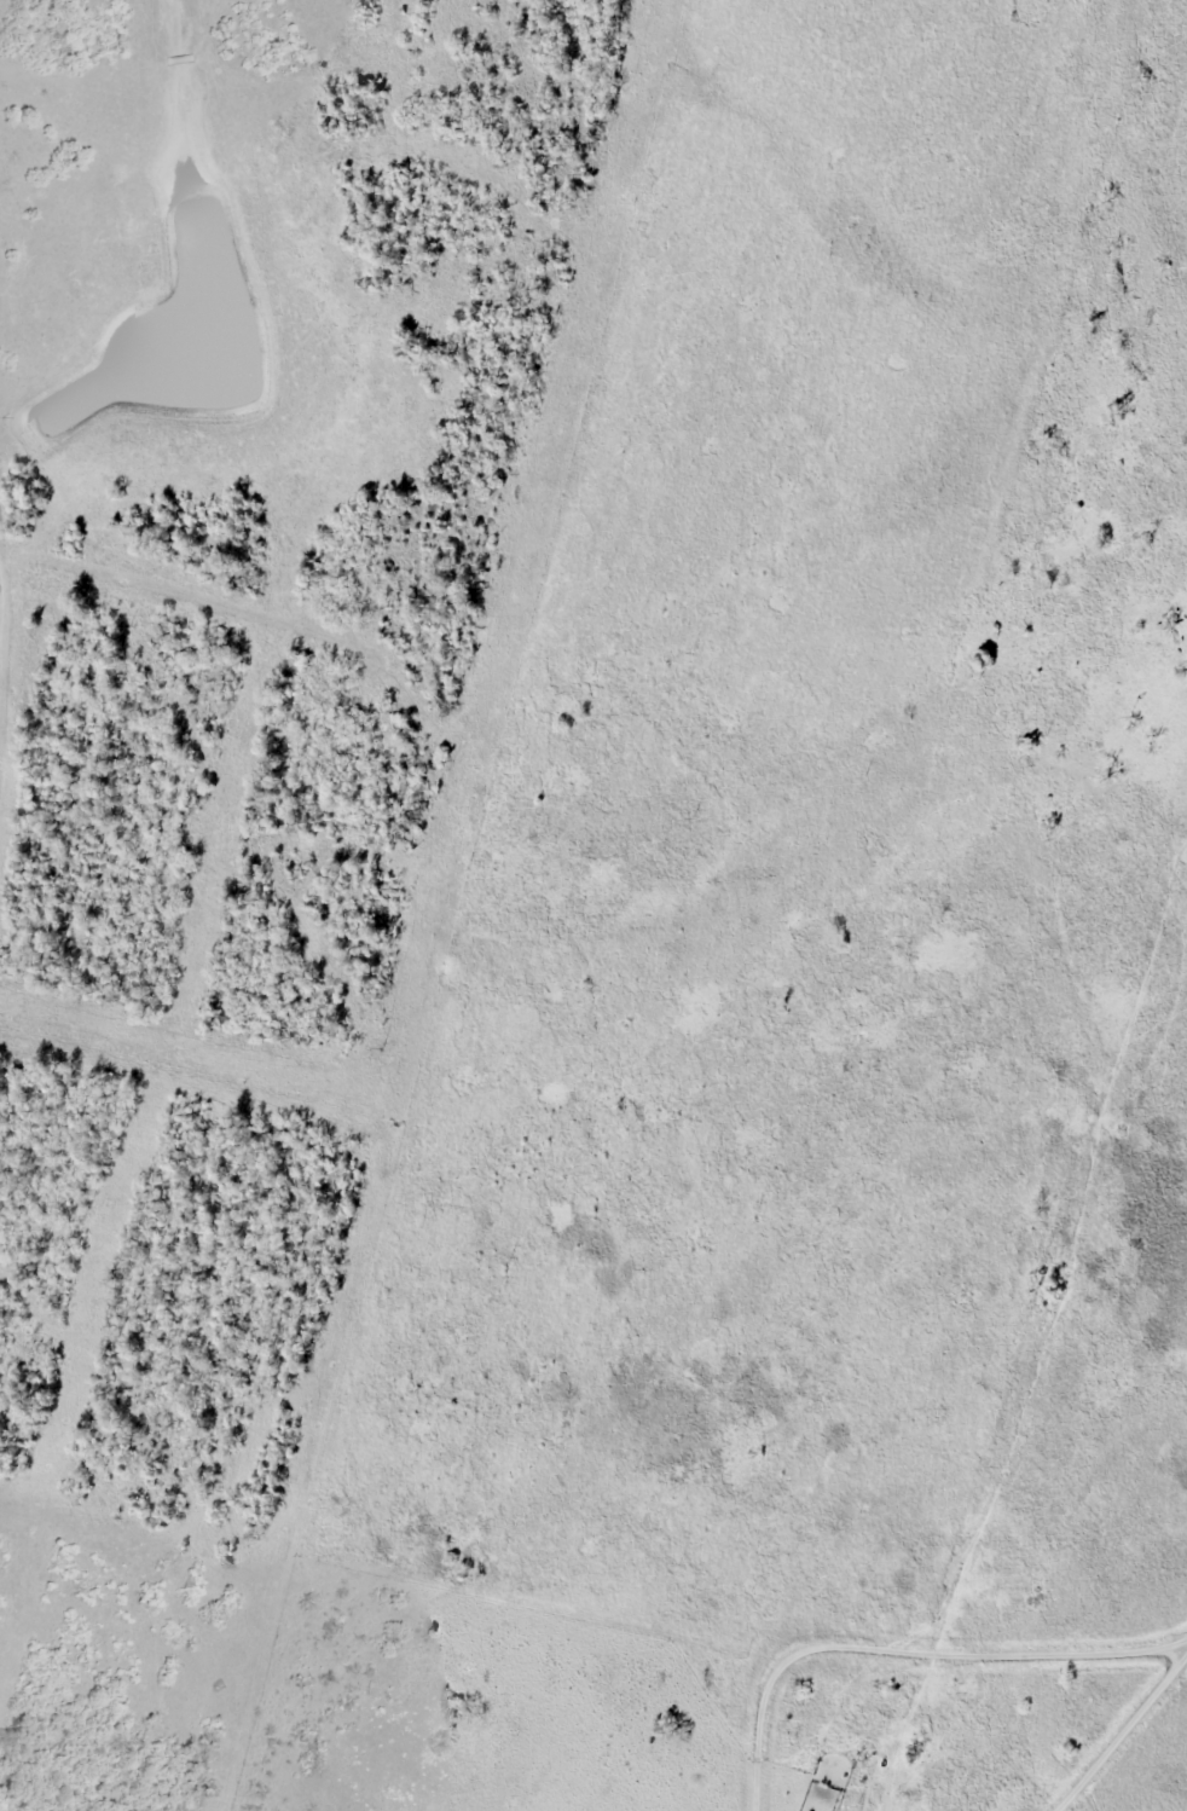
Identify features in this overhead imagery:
building: (179, 59)
building: (851, 1726)
road: (1127, 1772)

